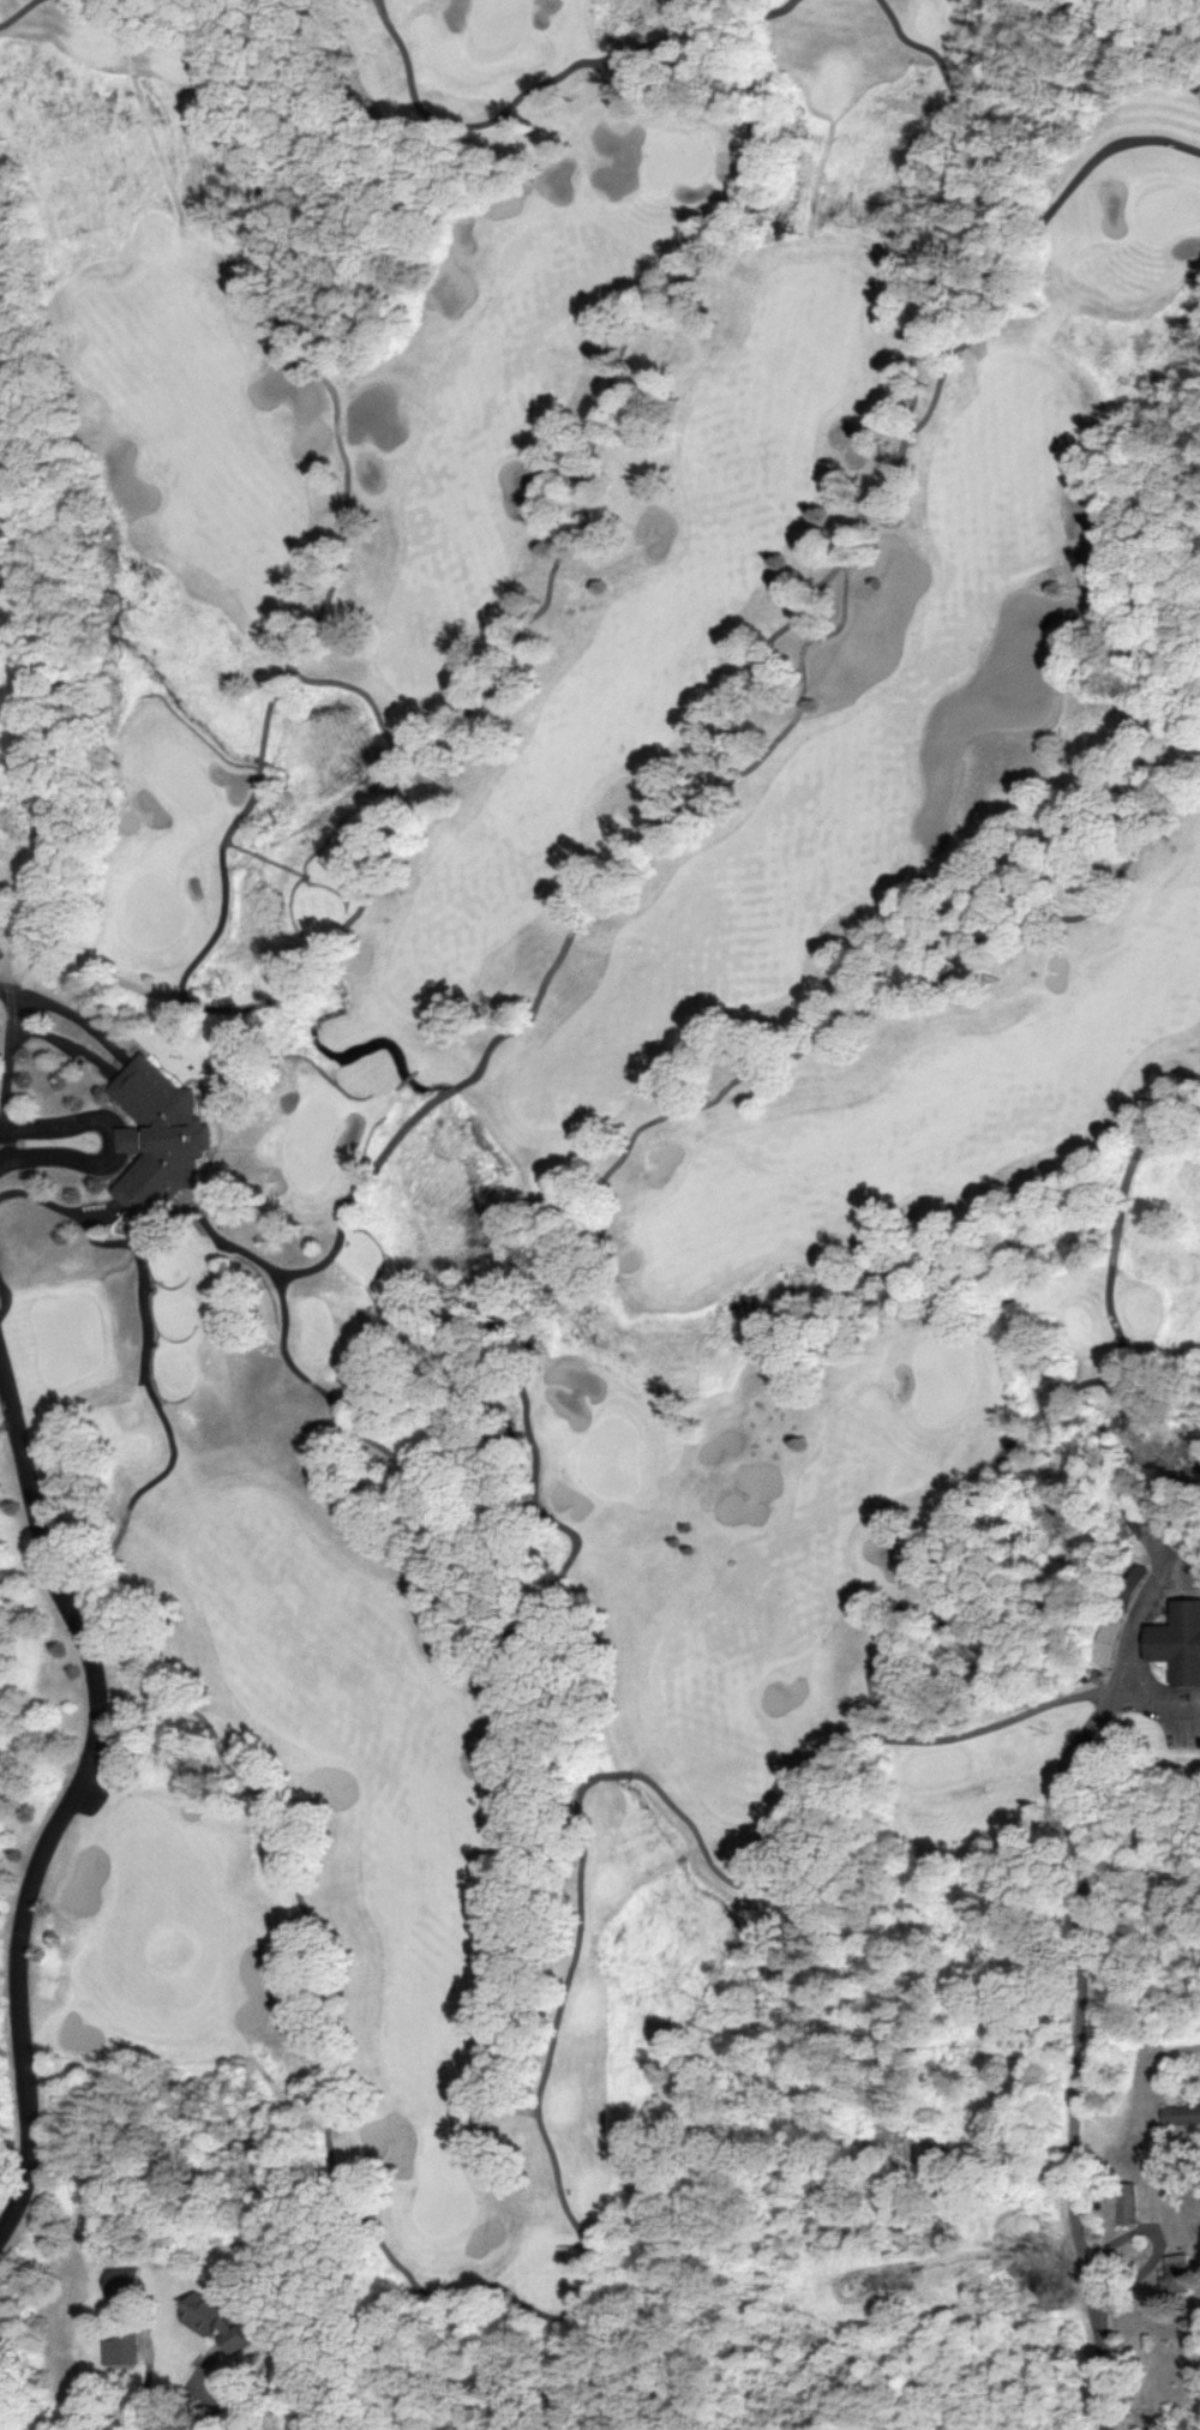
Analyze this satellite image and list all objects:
road: (17, 11)
road: (1156, 40)
road: (540, 80)
road: (755, 660)
road: (862, 1008)
road: (6, 1033)
building: (154, 1136)
road: (106, 1139)
road: (1139, 1141)
park: (604, 1160)
road: (1118, 1220)
road: (2, 1297)
road: (589, 1318)
road: (0, 1350)
road: (446, 1542)
building: (1104, 1640)
building: (1178, 1640)
road: (76, 1786)
road: (1075, 2012)
building: (1180, 2113)
building: (1121, 2201)
road: (582, 2266)
building: (1174, 2273)
building: (120, 2281)
building: (202, 2311)
building: (233, 2335)
building: (116, 2345)
road: (191, 2388)
road: (212, 2402)

